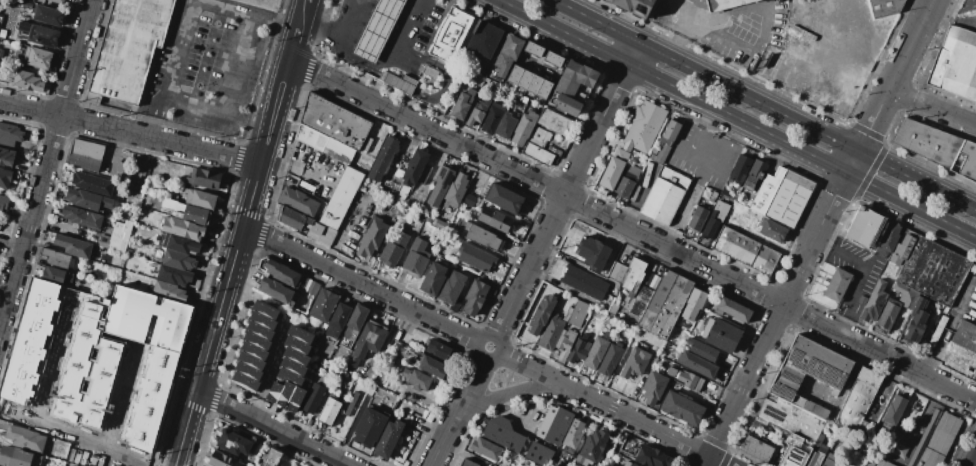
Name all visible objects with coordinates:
building: (59, 1)
road: (306, 4)
road: (395, 4)
building: (726, 4)
building: (635, 6)
building: (885, 7)
road: (408, 11)
road: (363, 12)
building: (49, 15)
road: (246, 16)
road: (352, 17)
road: (301, 20)
road: (382, 20)
road: (949, 20)
road: (765, 25)
building: (22, 27)
road: (321, 27)
road: (405, 27)
road: (399, 28)
road: (686, 28)
building: (377, 29)
road: (322, 30)
building: (450, 33)
building: (44, 36)
road: (351, 36)
building: (483, 40)
road: (370, 44)
road: (343, 45)
road: (294, 46)
building: (129, 47)
building: (532, 47)
road: (179, 48)
road: (633, 53)
building: (552, 56)
road: (208, 57)
road: (364, 57)
road: (405, 57)
building: (505, 57)
building: (39, 58)
road: (384, 60)
building: (954, 62)
parking lot: (207, 65)
road: (241, 66)
road: (308, 71)
building: (430, 72)
road: (895, 76)
building: (26, 80)
building: (398, 81)
building: (529, 81)
building: (571, 87)
road: (406, 88)
building: (464, 103)
road: (759, 103)
road: (196, 105)
road: (932, 109)
road: (727, 113)
building: (476, 115)
road: (156, 117)
building: (491, 120)
building: (334, 122)
building: (554, 122)
building: (506, 125)
building: (644, 126)
road: (180, 128)
building: (523, 130)
building: (11, 132)
road: (130, 133)
building: (666, 141)
building: (926, 142)
building: (325, 144)
building: (541, 147)
road: (113, 151)
building: (85, 155)
parking lot: (702, 156)
building: (7, 157)
building: (382, 158)
road: (702, 158)
road: (852, 161)
building: (965, 161)
road: (297, 165)
building: (414, 167)
road: (48, 170)
building: (740, 170)
building: (612, 173)
building: (755, 175)
building: (5, 177)
building: (203, 180)
building: (626, 180)
building: (92, 184)
building: (438, 187)
building: (455, 190)
road: (638, 195)
building: (665, 196)
building: (782, 197)
building: (341, 198)
building: (470, 198)
building: (198, 199)
building: (503, 199)
road: (561, 200)
building: (87, 201)
building: (298, 201)
building: (3, 202)
road: (686, 204)
road: (971, 208)
building: (186, 212)
building: (81, 217)
building: (717, 217)
building: (698, 218)
building: (294, 219)
building: (428, 219)
building: (494, 219)
building: (439, 224)
building: (865, 227)
building: (184, 229)
building: (772, 230)
road: (346, 231)
road: (632, 231)
road: (965, 231)
building: (322, 234)
building: (118, 235)
building: (372, 237)
building: (484, 238)
building: (888, 239)
building: (178, 243)
building: (73, 246)
road: (13, 247)
building: (394, 247)
building: (745, 250)
building: (901, 251)
building: (592, 253)
building: (55, 258)
building: (416, 258)
building: (476, 258)
building: (179, 261)
road: (233, 263)
building: (973, 269)
building: (933, 270)
building: (628, 273)
parking lot: (855, 274)
road: (862, 274)
building: (174, 275)
building: (57, 276)
building: (288, 276)
building: (434, 278)
building: (585, 281)
road: (361, 283)
building: (836, 285)
building: (451, 286)
road: (7, 289)
building: (275, 290)
building: (644, 290)
building: (167, 292)
building: (474, 297)
building: (875, 302)
building: (665, 304)
building: (896, 304)
building: (323, 305)
building: (693, 305)
building: (613, 308)
building: (264, 310)
building: (732, 312)
building: (578, 314)
building: (541, 316)
road: (775, 319)
building: (338, 320)
building: (917, 320)
building: (261, 321)
building: (355, 322)
building: (260, 330)
building: (553, 331)
building: (937, 331)
building: (299, 334)
building: (720, 334)
building: (965, 336)
road: (494, 337)
building: (256, 340)
building: (566, 340)
building: (366, 343)
building: (296, 345)
building: (579, 350)
building: (254, 351)
building: (438, 352)
building: (596, 352)
building: (704, 352)
building: (99, 354)
building: (295, 356)
building: (610, 359)
building: (636, 359)
building: (251, 361)
building: (697, 365)
building: (292, 366)
building: (431, 366)
road: (531, 368)
building: (248, 371)
road: (500, 376)
building: (289, 377)
building: (684, 377)
building: (415, 379)
building: (244, 381)
building: (786, 383)
road: (468, 388)
building: (653, 388)
building: (274, 391)
building: (357, 392)
road: (887, 392)
building: (285, 394)
road: (506, 395)
building: (311, 397)
building: (295, 399)
building: (858, 400)
building: (681, 408)
building: (329, 411)
building: (893, 415)
building: (344, 417)
building: (553, 424)
road: (645, 425)
road: (272, 428)
building: (370, 428)
building: (502, 433)
building: (572, 435)
road: (73, 438)
building: (388, 438)
building: (26, 439)
building: (935, 440)
road: (441, 441)
building: (234, 444)
building: (487, 447)
building: (591, 447)
building: (756, 449)
building: (794, 452)
building: (539, 454)
building: (816, 455)
building: (14, 456)
building: (271, 457)
building: (653, 457)
building: (224, 459)
building: (831, 460)
road: (973, 461)
building: (467, 462)
building: (879, 463)
building: (632, 464)
building: (492, 465)
building: (533, 465)

